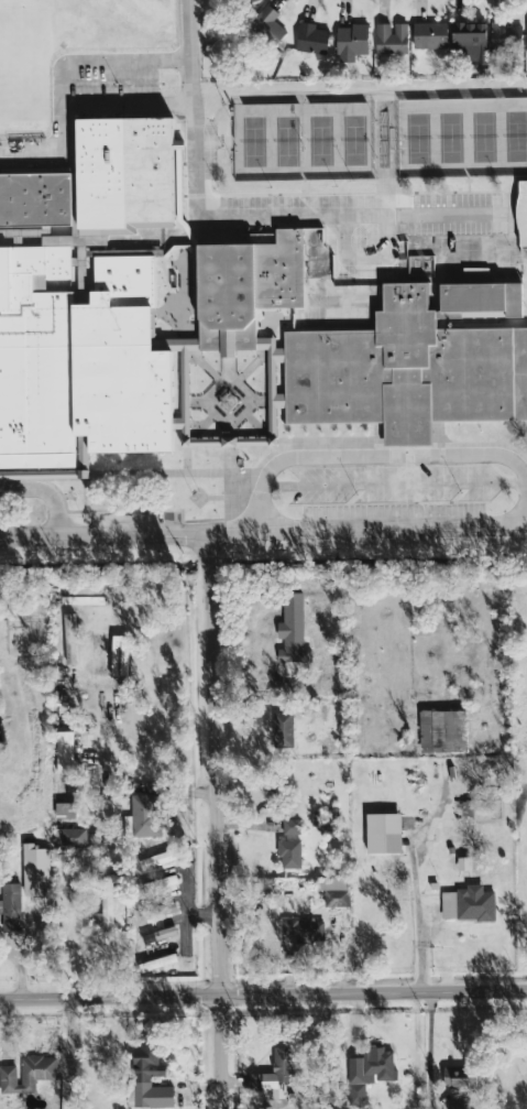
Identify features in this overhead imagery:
building: (251, 0)
building: (270, 25)
building: (506, 35)
building: (431, 36)
building: (311, 40)
building: (392, 40)
building: (471, 42)
building: (352, 43)
road: (58, 85)
park: (450, 137)
park: (482, 137)
park: (515, 137)
park: (417, 138)
park: (320, 140)
park: (353, 140)
park: (252, 141)
park: (286, 141)
building: (523, 214)
road: (241, 218)
building: (344, 287)
building: (345, 316)
building: (213, 323)
road: (374, 456)
road: (45, 496)
road: (366, 529)
road: (103, 536)
building: (293, 630)
building: (283, 730)
building: (442, 731)
building: (65, 753)
road: (141, 779)
building: (66, 811)
building: (474, 811)
road: (213, 820)
building: (292, 827)
building: (147, 828)
building: (385, 834)
building: (74, 838)
building: (290, 855)
building: (157, 859)
building: (35, 870)
building: (160, 884)
road: (416, 885)
building: (336, 892)
building: (475, 904)
building: (449, 905)
building: (11, 906)
building: (0, 907)
building: (106, 909)
building: (301, 934)
road: (63, 958)
building: (145, 966)
road: (263, 998)
road: (428, 1051)
road: (69, 1054)
building: (371, 1069)
building: (28, 1074)
building: (274, 1075)
building: (457, 1076)
building: (149, 1080)
building: (459, 1103)

